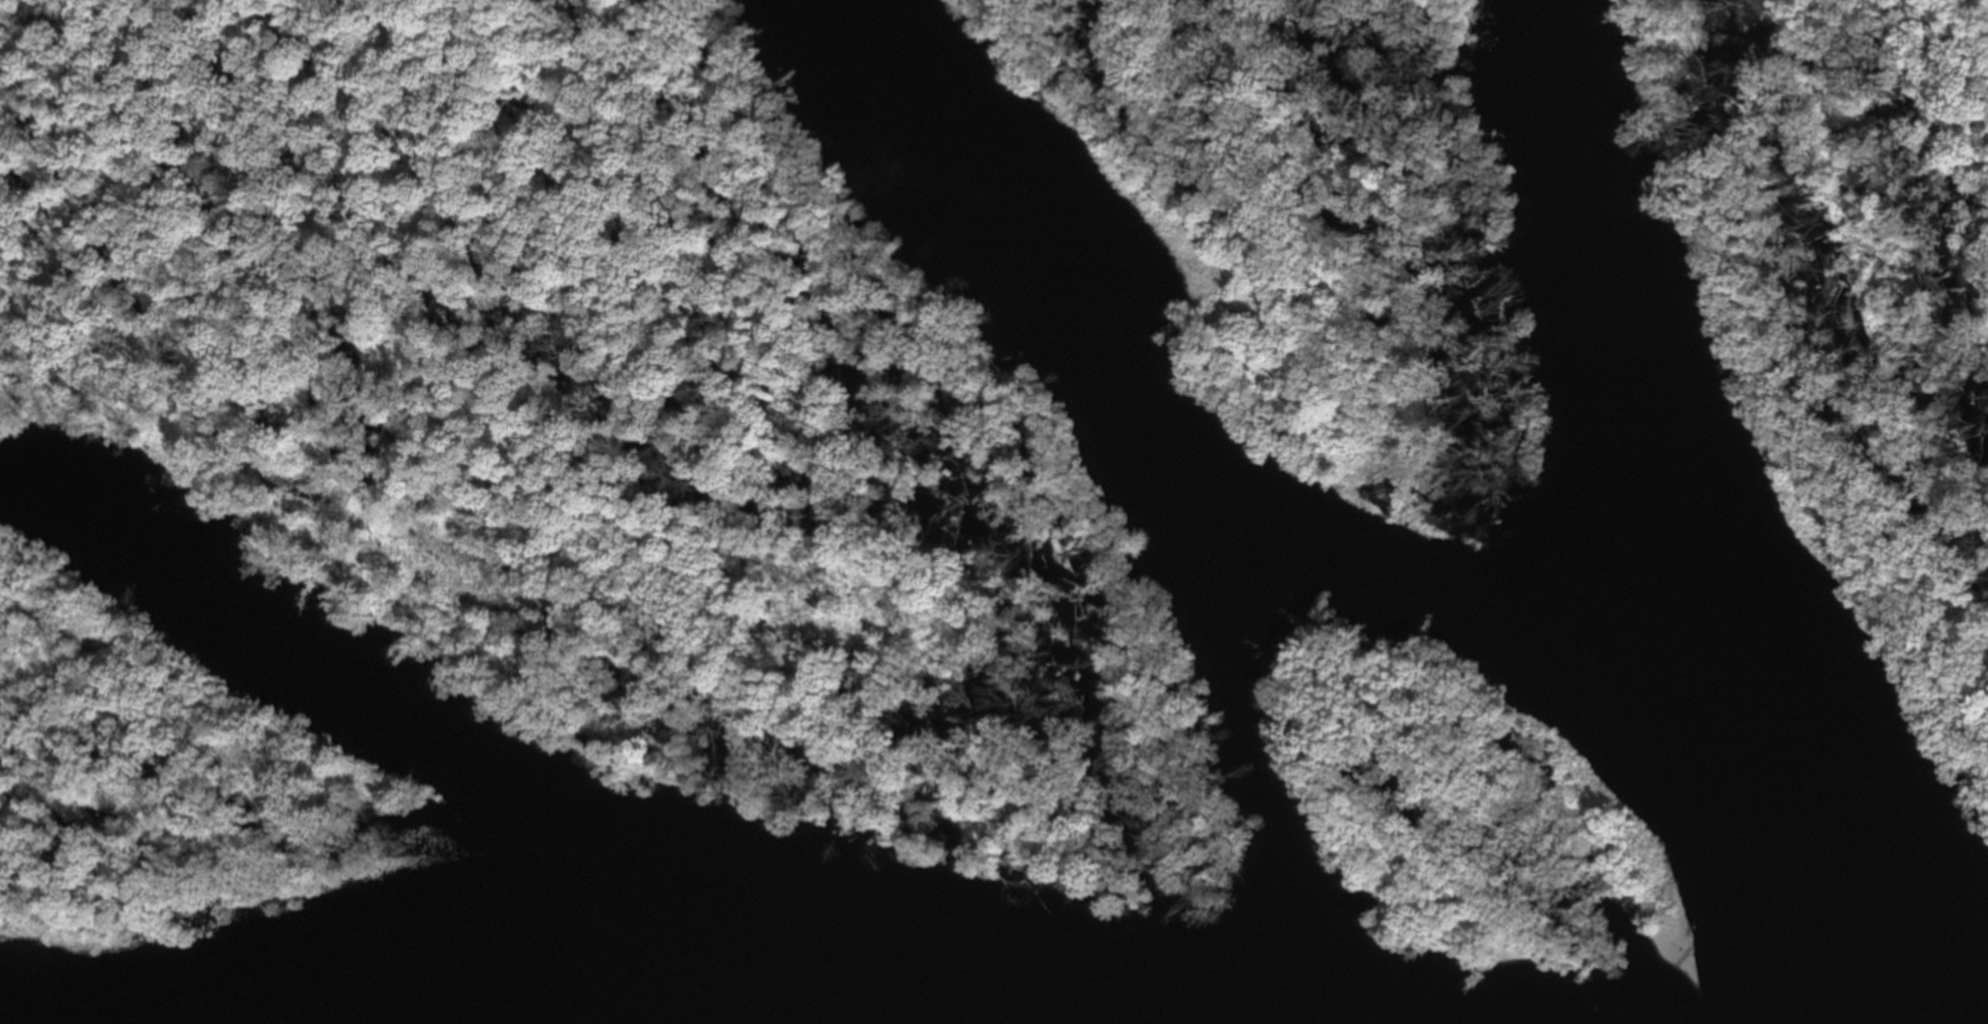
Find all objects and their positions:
park: (1974, 12)

